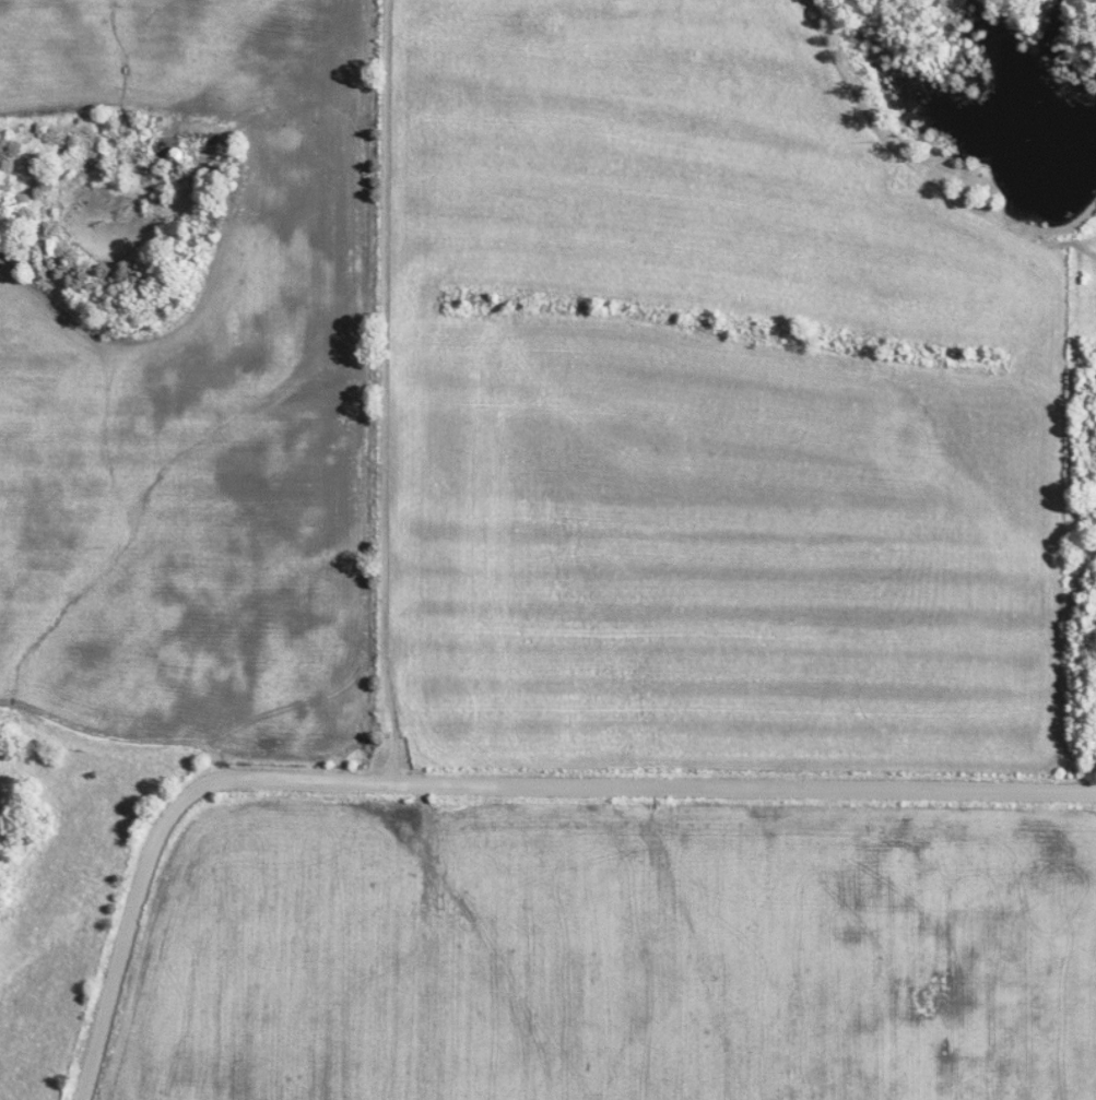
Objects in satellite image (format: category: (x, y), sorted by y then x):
road: (374, 391)
road: (116, 748)
road: (471, 783)

